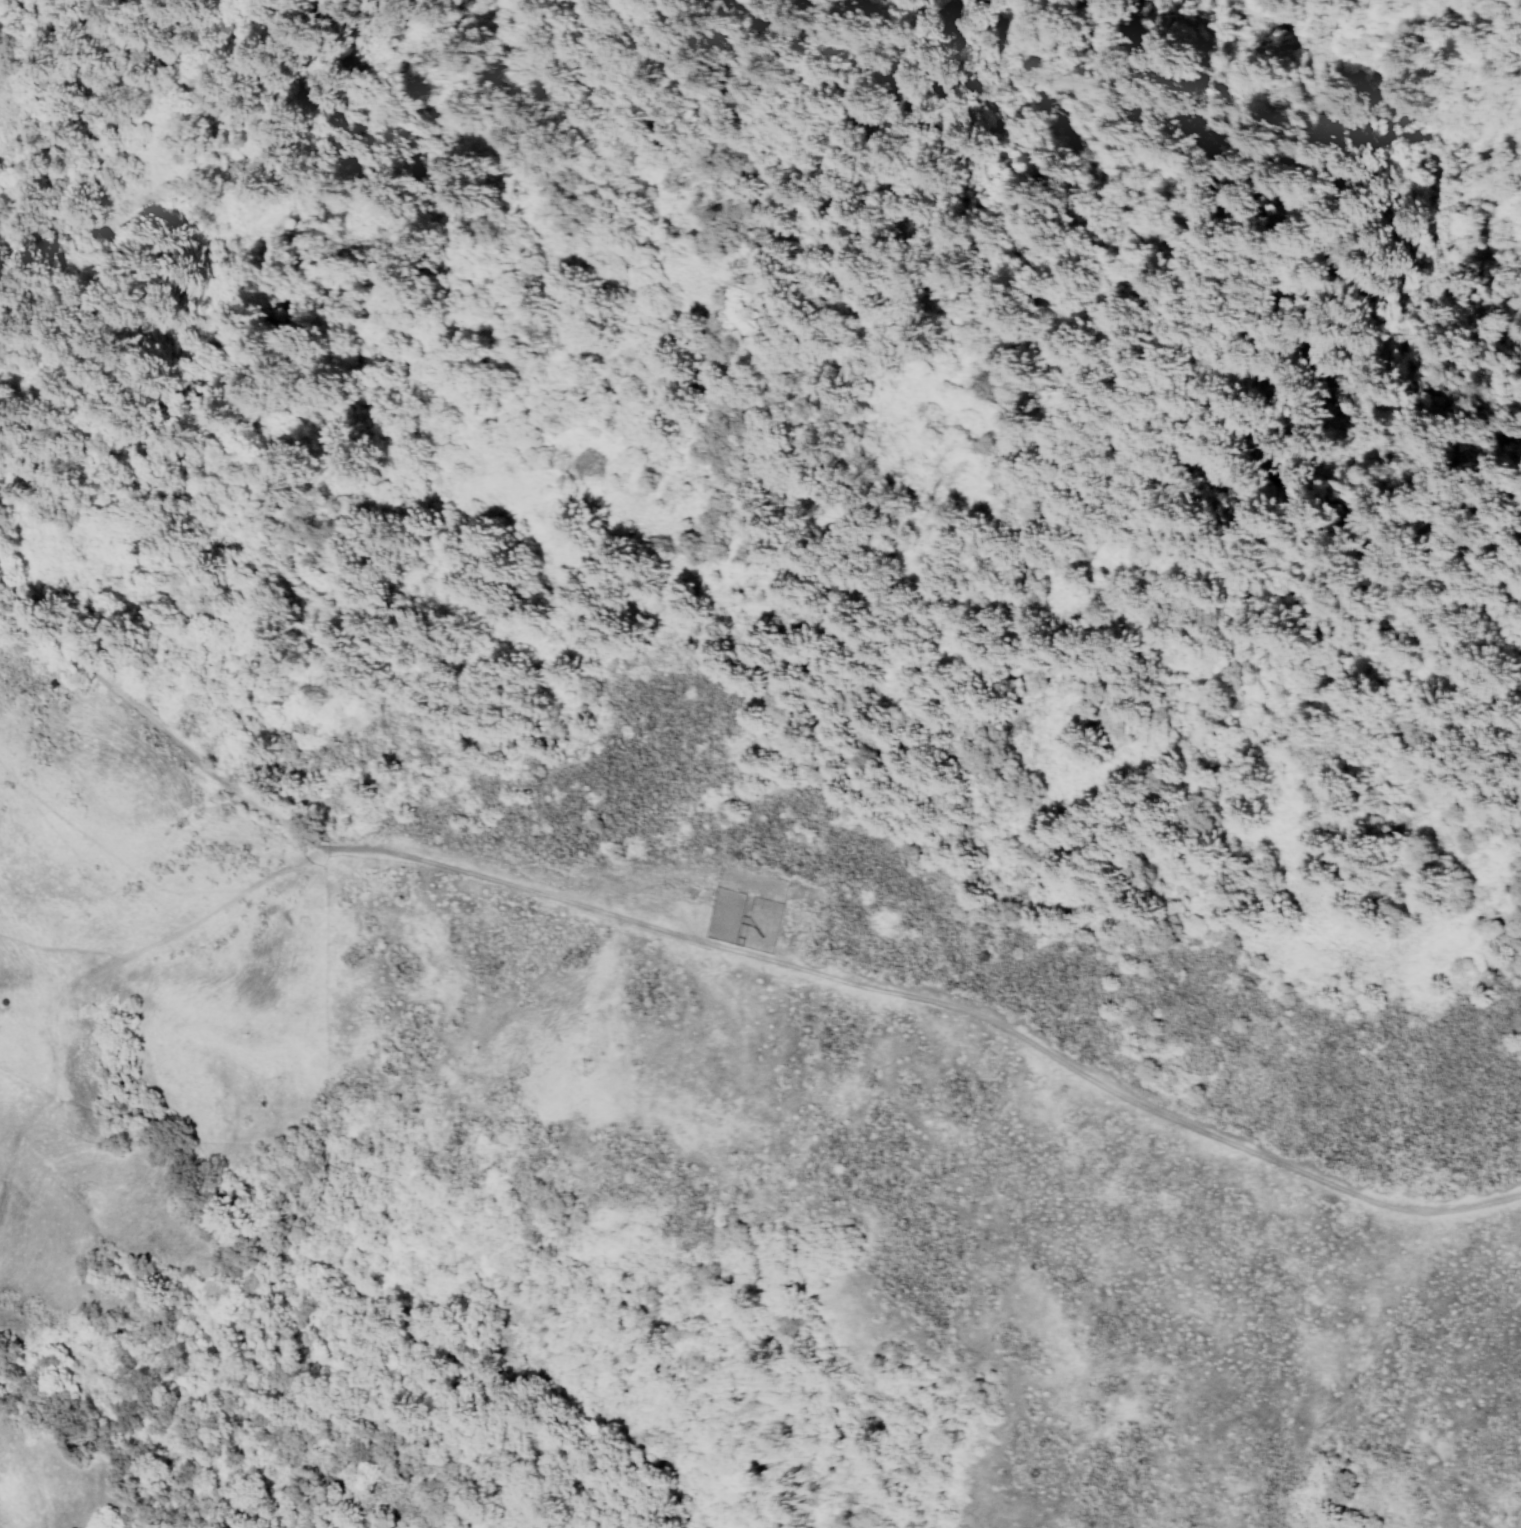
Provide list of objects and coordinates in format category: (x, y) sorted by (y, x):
road: (151, 723)
road: (334, 851)
road: (221, 906)
road: (60, 948)
road: (93, 971)
road: (947, 1004)

